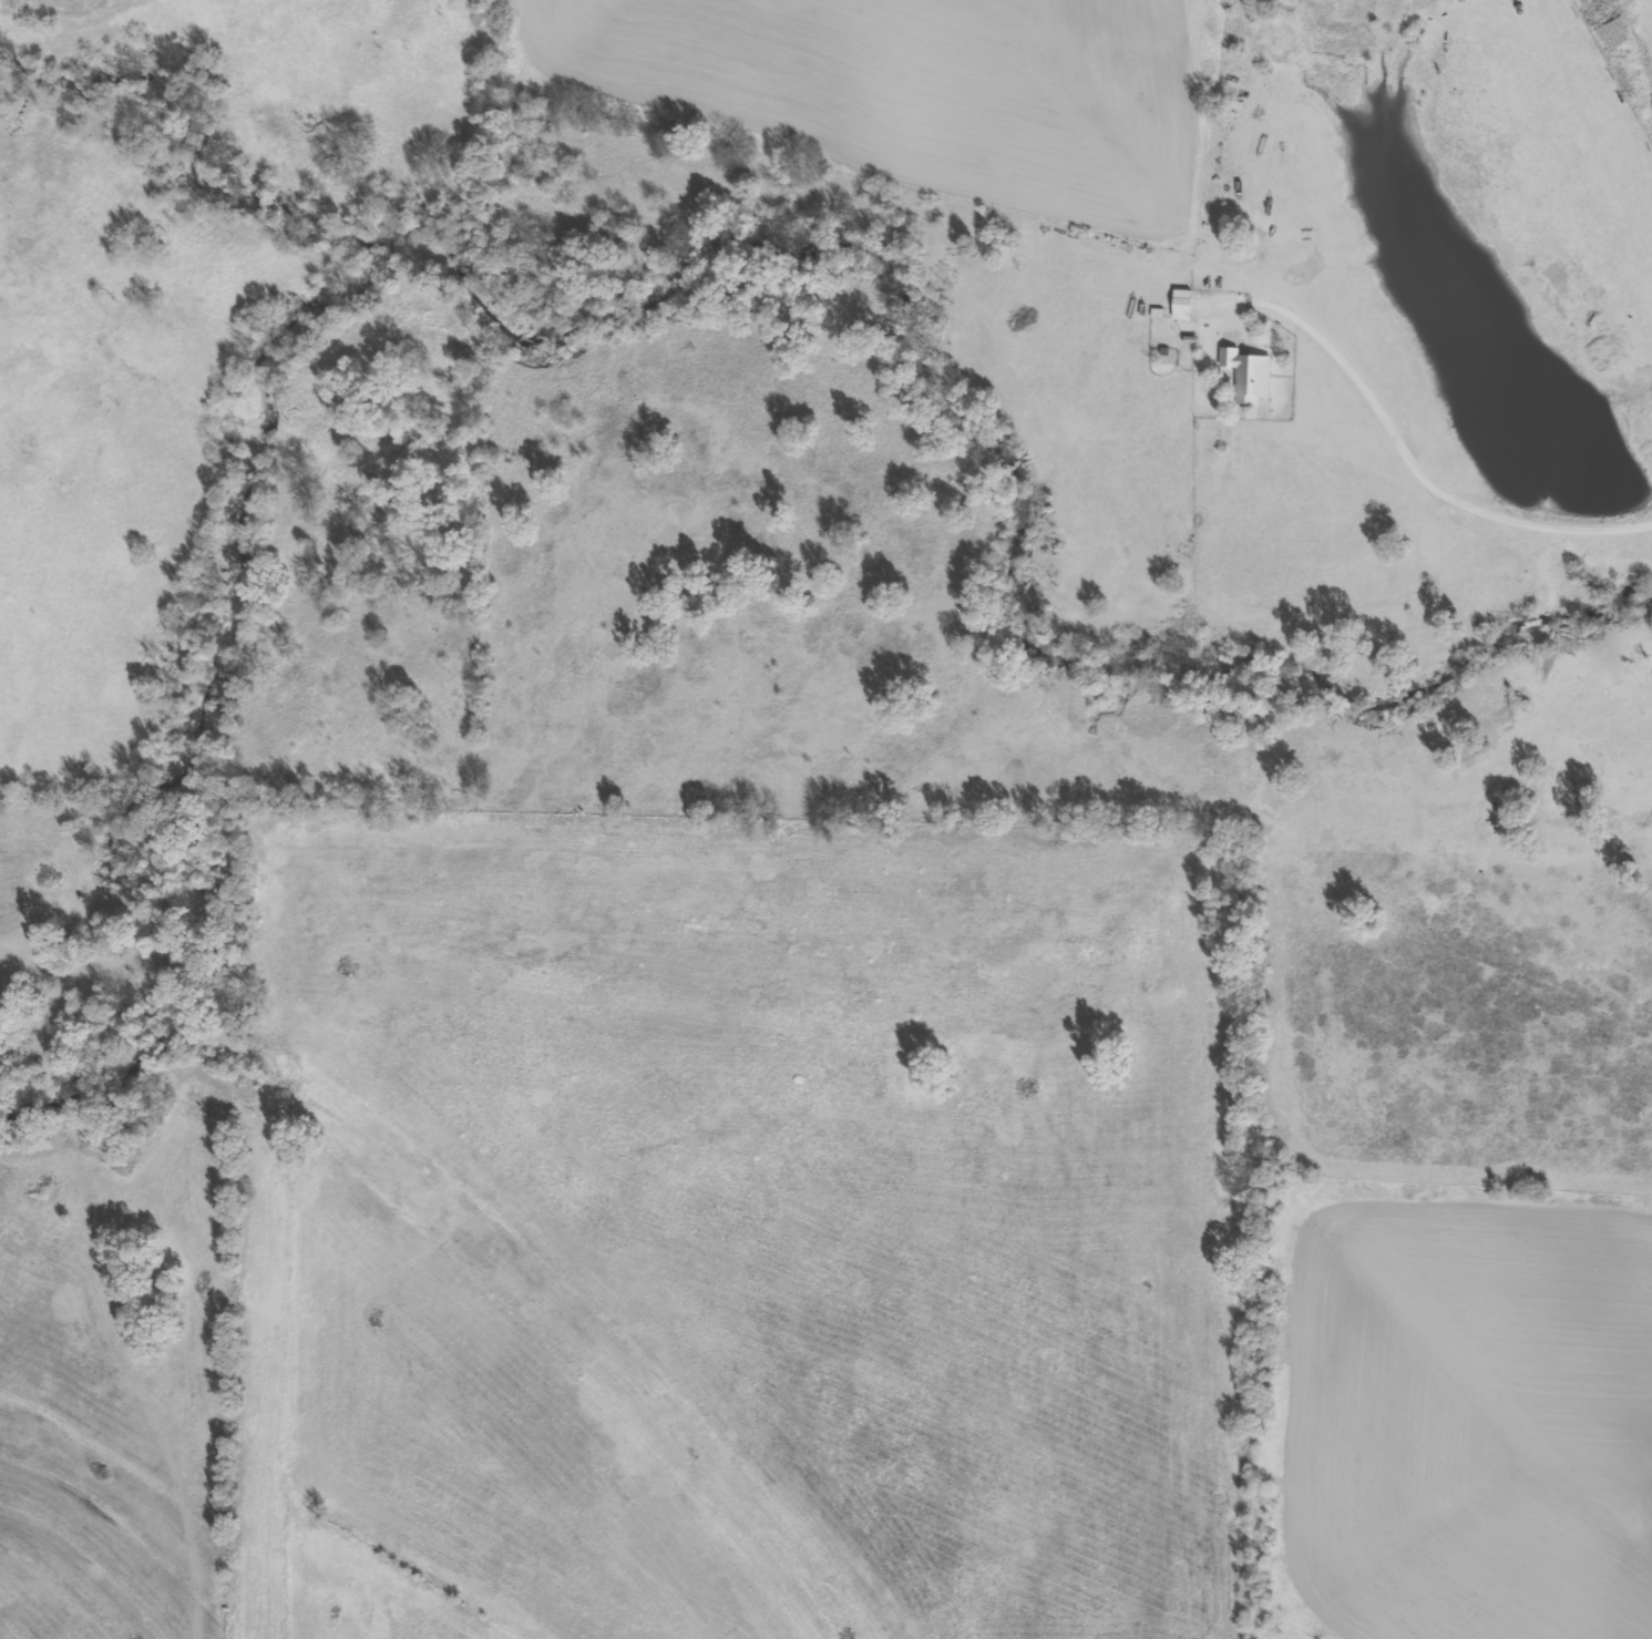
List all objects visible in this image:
building: (1251, 376)

